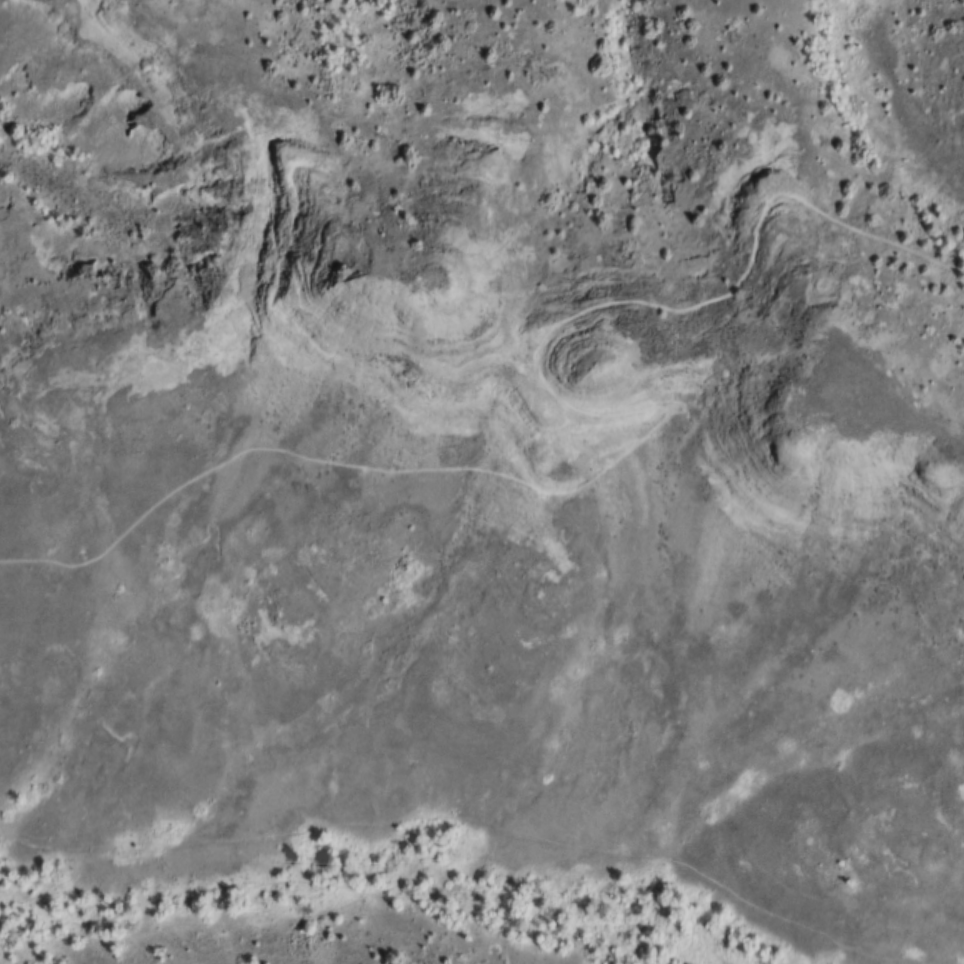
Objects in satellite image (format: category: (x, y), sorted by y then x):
road: (657, 420)

